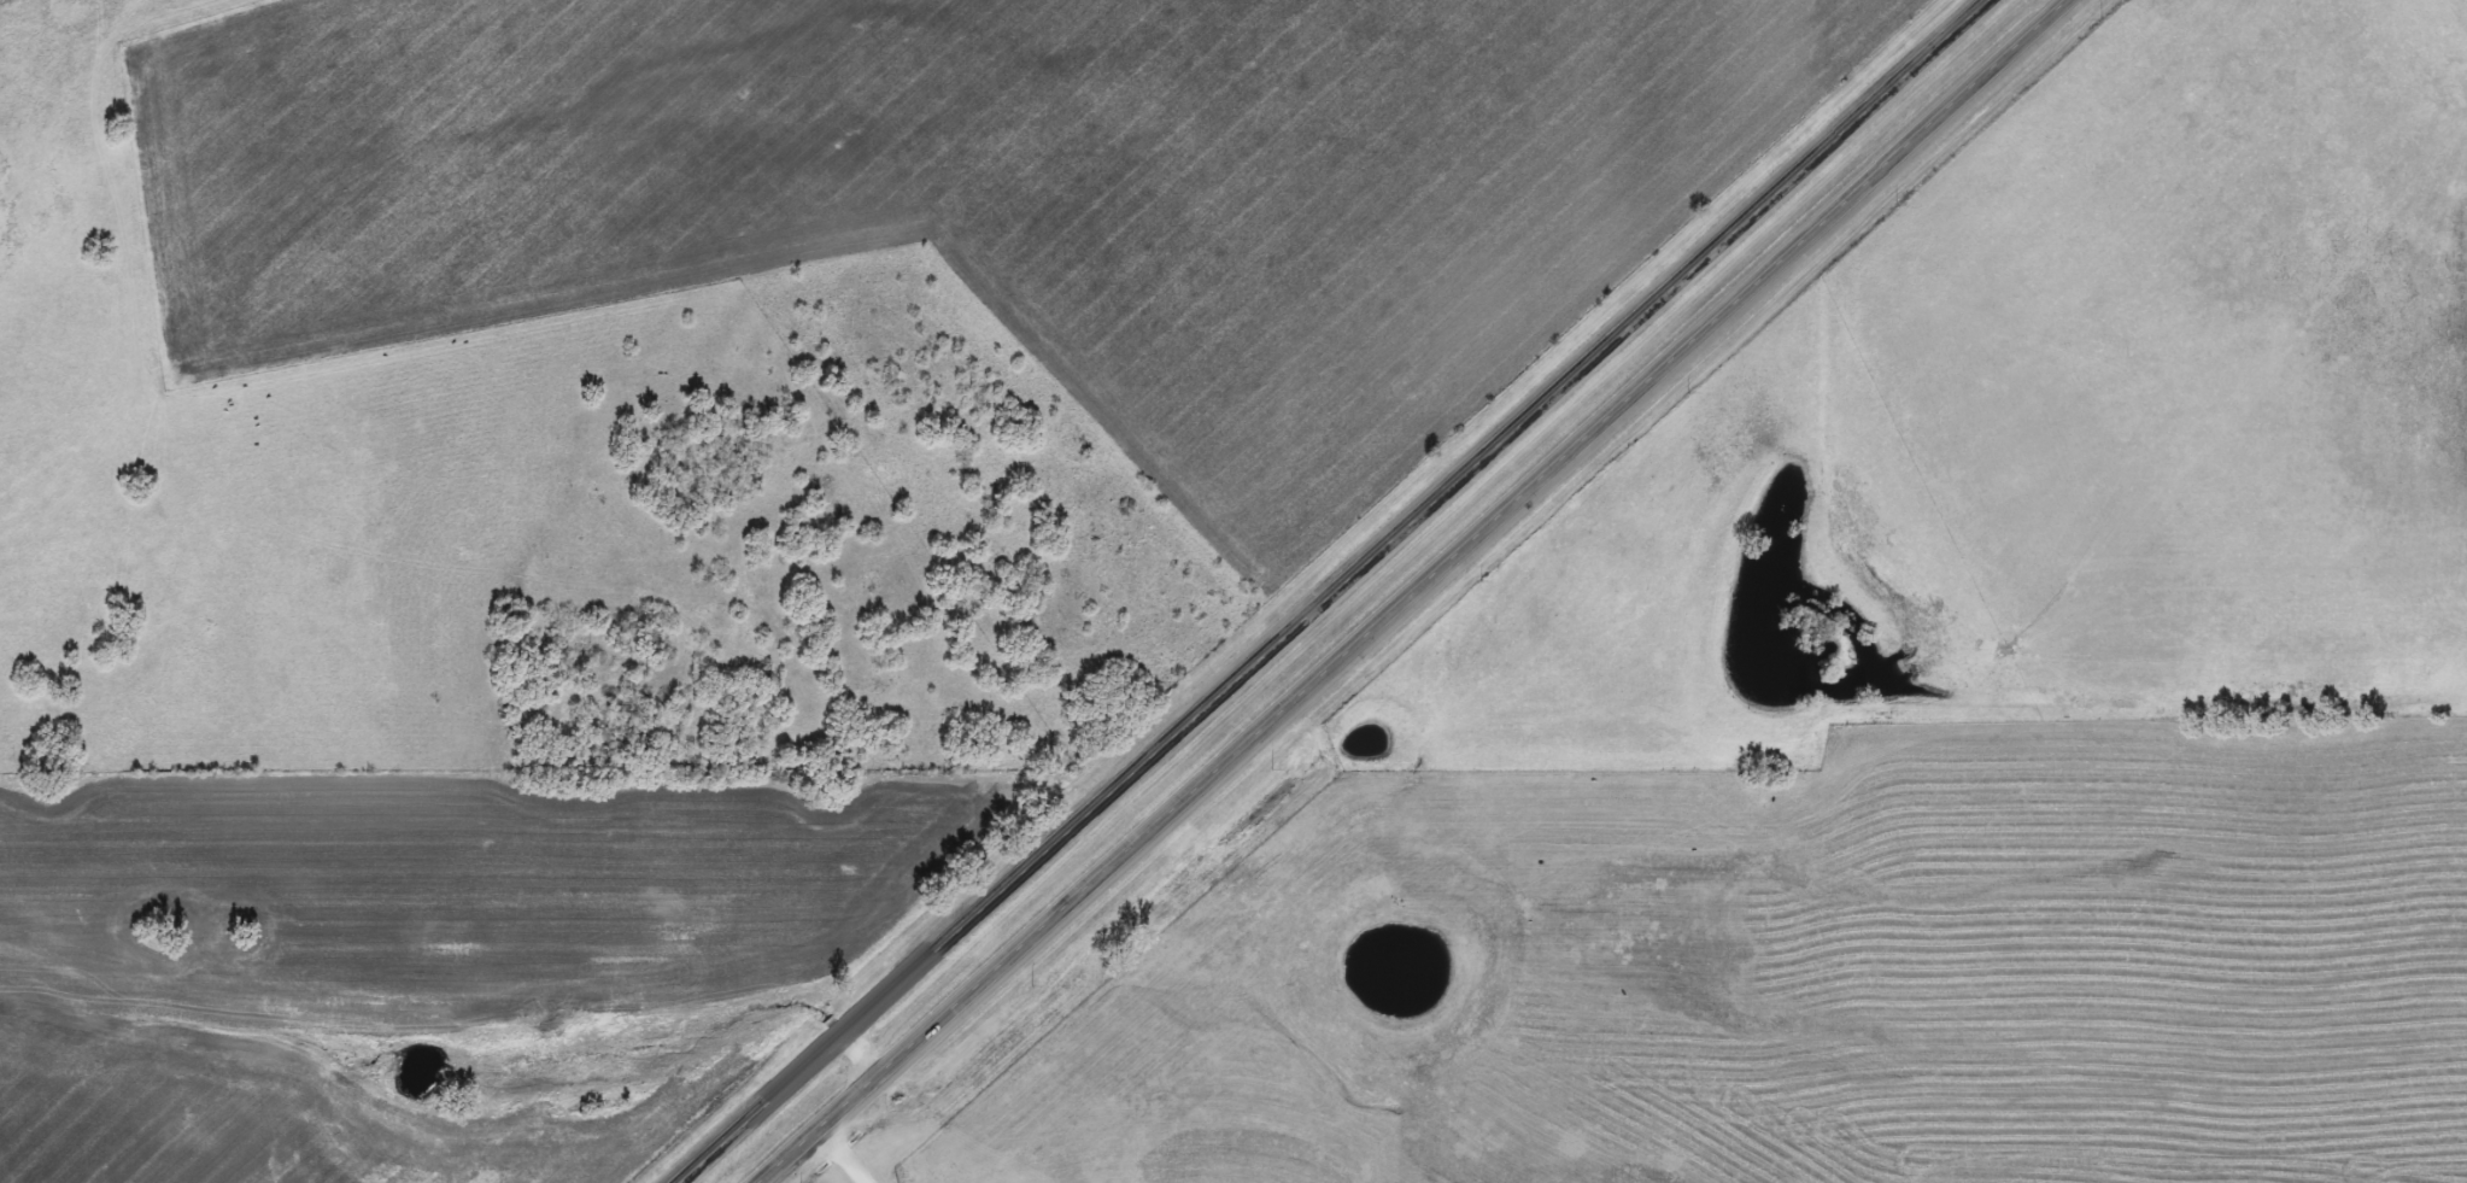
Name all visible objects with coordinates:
road: (1426, 591)
road: (1350, 592)

